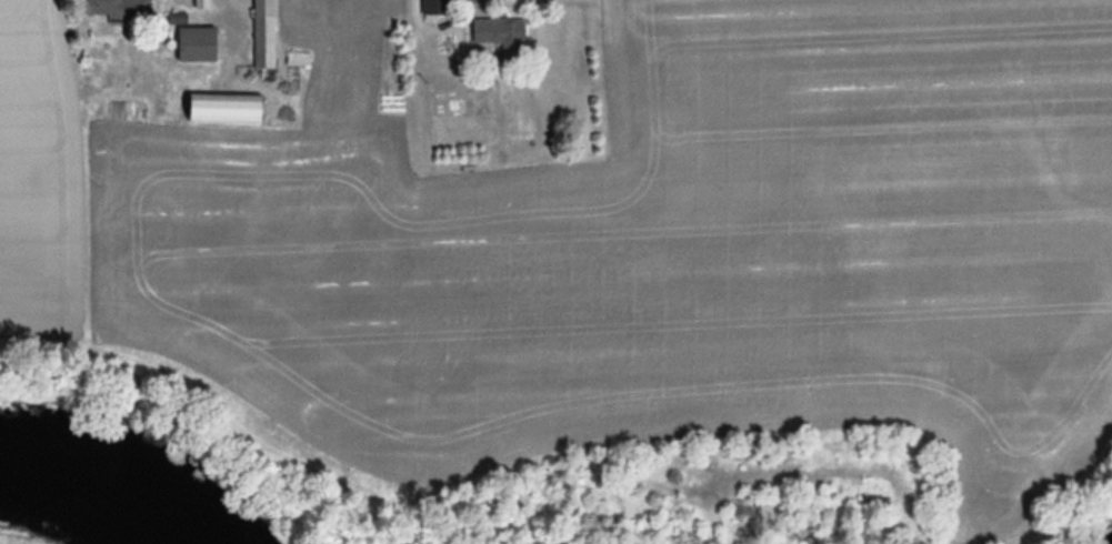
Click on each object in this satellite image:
road: (474, 1)
building: (201, 2)
building: (101, 7)
building: (497, 29)
building: (263, 42)
building: (194, 43)
building: (220, 108)
river: (92, 497)

